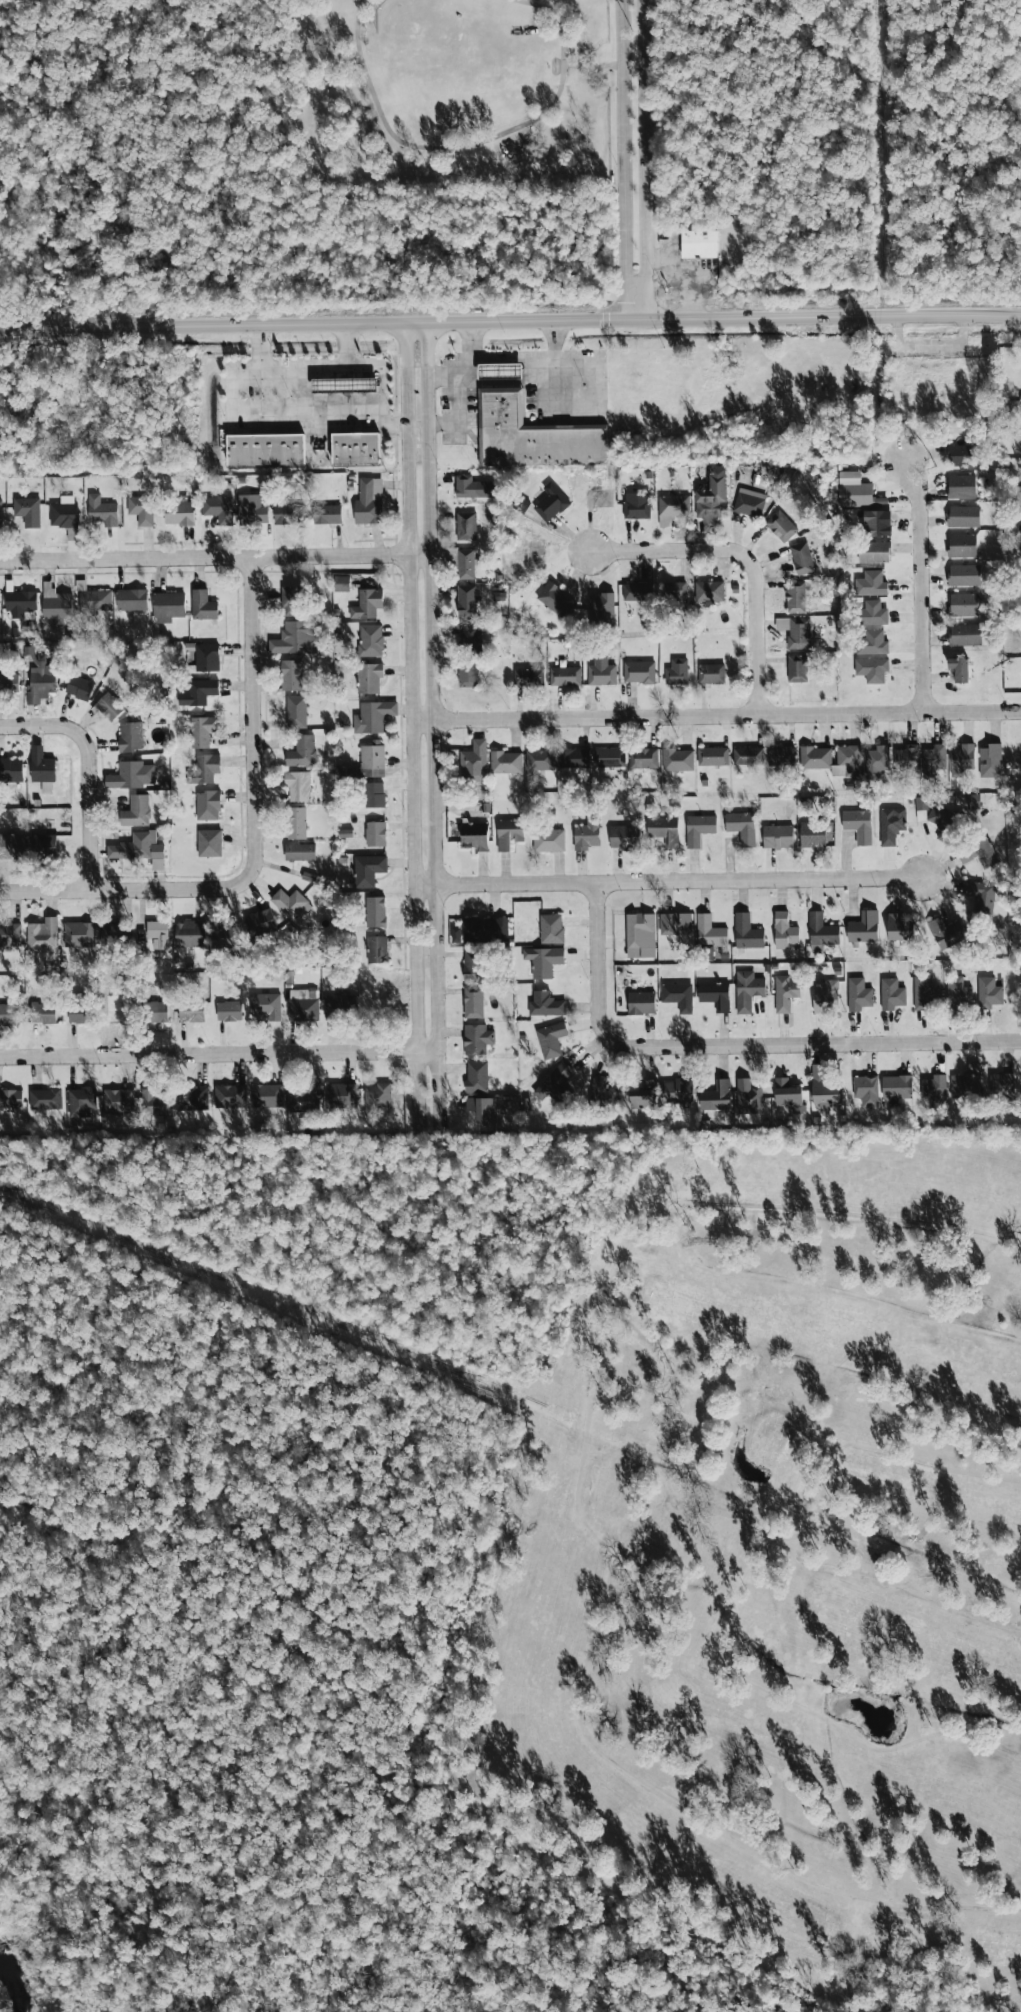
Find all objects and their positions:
road: (593, 65)
road: (644, 136)
road: (624, 138)
road: (475, 143)
building: (701, 243)
road: (642, 296)
road: (633, 298)
road: (830, 318)
traffic signals: (639, 321)
road: (319, 326)
road: (474, 336)
road: (562, 337)
road: (428, 345)
road: (406, 347)
road: (933, 349)
road: (512, 350)
road: (905, 367)
road: (281, 369)
road: (379, 370)
building: (503, 370)
road: (486, 380)
road: (596, 383)
building: (343, 384)
road: (549, 398)
road: (449, 408)
road: (271, 414)
road: (575, 414)
road: (439, 424)
building: (537, 436)
building: (352, 447)
building: (264, 449)
building: (964, 455)
building: (962, 486)
building: (472, 487)
building: (855, 489)
building: (712, 496)
building: (368, 501)
building: (551, 502)
building: (749, 502)
building: (599, 504)
building: (636, 505)
building: (521, 506)
building: (673, 506)
building: (218, 508)
building: (141, 509)
building: (251, 509)
building: (102, 510)
building: (27, 511)
building: (64, 512)
building: (178, 513)
building: (0, 514)
building: (327, 514)
building: (286, 515)
building: (962, 516)
building: (876, 523)
building: (466, 526)
building: (780, 526)
building: (962, 545)
building: (874, 552)
building: (801, 558)
road: (215, 561)
road: (748, 562)
building: (465, 564)
building: (964, 575)
building: (341, 583)
building: (871, 583)
road: (921, 586)
building: (675, 590)
building: (637, 591)
building: (710, 591)
building: (795, 596)
building: (132, 600)
building: (291, 600)
building: (467, 600)
building: (555, 600)
building: (94, 601)
building: (20, 603)
building: (366, 603)
building: (55, 604)
building: (965, 604)
building: (203, 605)
building: (168, 606)
building: (601, 610)
building: (873, 613)
building: (795, 631)
building: (965, 634)
building: (295, 638)
building: (470, 638)
building: (370, 640)
building: (872, 642)
building: (206, 657)
building: (797, 668)
building: (871, 669)
building: (959, 669)
building: (601, 670)
building: (676, 671)
building: (639, 672)
building: (468, 673)
building: (711, 673)
building: (291, 675)
building: (564, 676)
building: (369, 677)
building: (529, 677)
building: (0, 683)
building: (40, 683)
building: (79, 687)
building: (198, 692)
road: (256, 693)
building: (110, 706)
building: (296, 711)
building: (373, 716)
road: (716, 717)
building: (202, 730)
building: (130, 736)
road: (434, 744)
building: (301, 751)
building: (781, 755)
building: (712, 756)
building: (748, 756)
building: (815, 756)
building: (609, 757)
road: (412, 758)
building: (574, 758)
building: (643, 758)
building: (540, 759)
building: (676, 759)
building: (933, 759)
building: (961, 759)
building: (877, 760)
building: (372, 761)
building: (906, 761)
building: (990, 761)
building: (473, 762)
building: (505, 762)
building: (206, 766)
building: (42, 768)
building: (11, 769)
road: (90, 771)
building: (131, 775)
building: (298, 786)
building: (374, 795)
building: (207, 804)
building: (136, 811)
building: (296, 823)
building: (944, 823)
building: (891, 824)
building: (858, 825)
building: (741, 826)
building: (698, 829)
building: (664, 830)
building: (375, 833)
building: (508, 833)
building: (586, 834)
building: (812, 834)
building: (475, 835)
building: (623, 836)
building: (777, 836)
building: (548, 841)
building: (209, 842)
building: (44, 844)
building: (12, 845)
building: (137, 847)
building: (300, 852)
building: (979, 853)
building: (367, 869)
road: (670, 883)
road: (155, 892)
building: (980, 894)
building: (290, 903)
building: (375, 912)
building: (260, 922)
building: (675, 924)
building: (864, 927)
building: (899, 927)
building: (551, 928)
building: (485, 930)
building: (640, 930)
building: (710, 931)
building: (784, 931)
building: (747, 932)
building: (821, 932)
building: (946, 932)
building: (79, 933)
building: (158, 933)
building: (190, 933)
building: (113, 934)
building: (10, 935)
building: (226, 935)
building: (43, 943)
building: (376, 949)
building: (544, 960)
building: (473, 965)
building: (747, 990)
building: (958, 992)
building: (989, 992)
building: (785, 993)
building: (924, 993)
building: (858, 994)
building: (891, 994)
building: (678, 995)
building: (715, 995)
building: (825, 996)
building: (473, 1002)
building: (641, 1003)
building: (302, 1004)
building: (545, 1004)
building: (340, 1005)
building: (265, 1006)
building: (80, 1010)
building: (191, 1011)
building: (229, 1011)
building: (160, 1012)
building: (9, 1013)
building: (42, 1013)
building: (476, 1039)
building: (551, 1039)
road: (733, 1045)
road: (219, 1057)
building: (476, 1076)
building: (554, 1082)
building: (966, 1082)
building: (1001, 1085)
building: (896, 1087)
building: (823, 1090)
building: (866, 1090)
building: (678, 1091)
building: (935, 1092)
building: (602, 1093)
building: (340, 1094)
building: (748, 1094)
building: (267, 1095)
building: (644, 1095)
building: (788, 1095)
building: (229, 1096)
building: (304, 1096)
building: (378, 1096)
building: (716, 1096)
building: (11, 1098)
building: (192, 1098)
building: (44, 1099)
building: (81, 1101)
building: (118, 1101)
building: (154, 1105)
building: (482, 1109)
park: (511, 1571)
river: (8, 1984)

